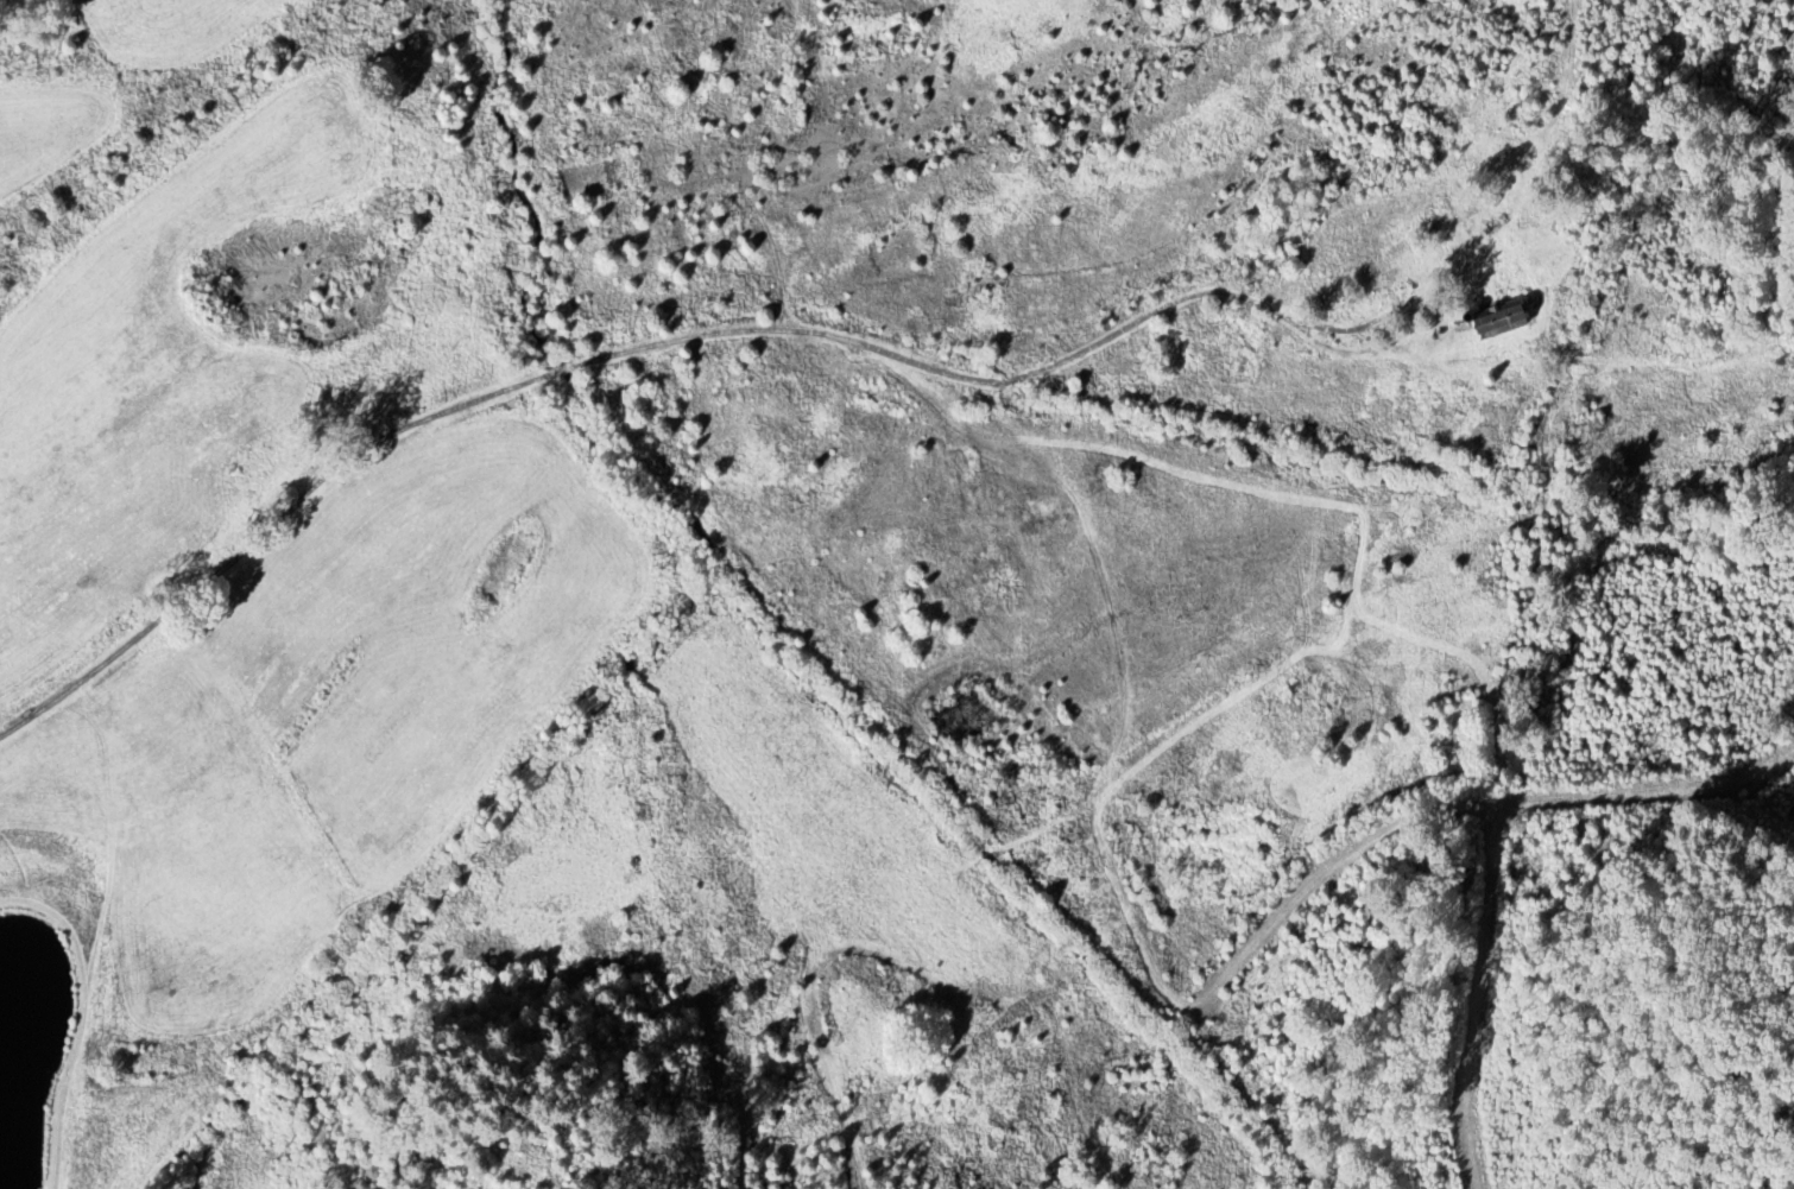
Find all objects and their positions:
road: (687, 264)
building: (1503, 315)
road: (1396, 833)
road: (1479, 997)

